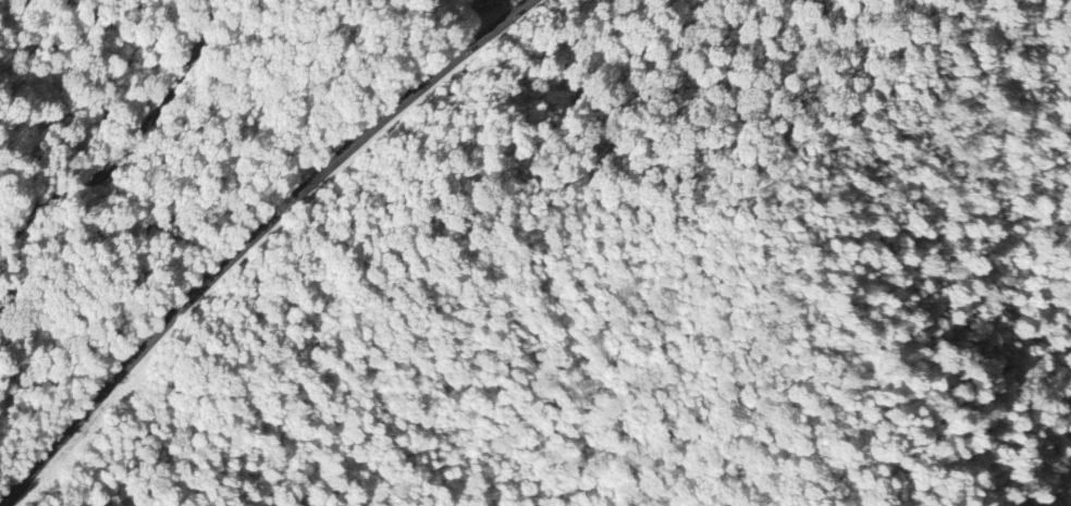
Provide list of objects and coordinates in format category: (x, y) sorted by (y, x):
road: (110, 163)
road: (253, 239)
road: (647, 492)

